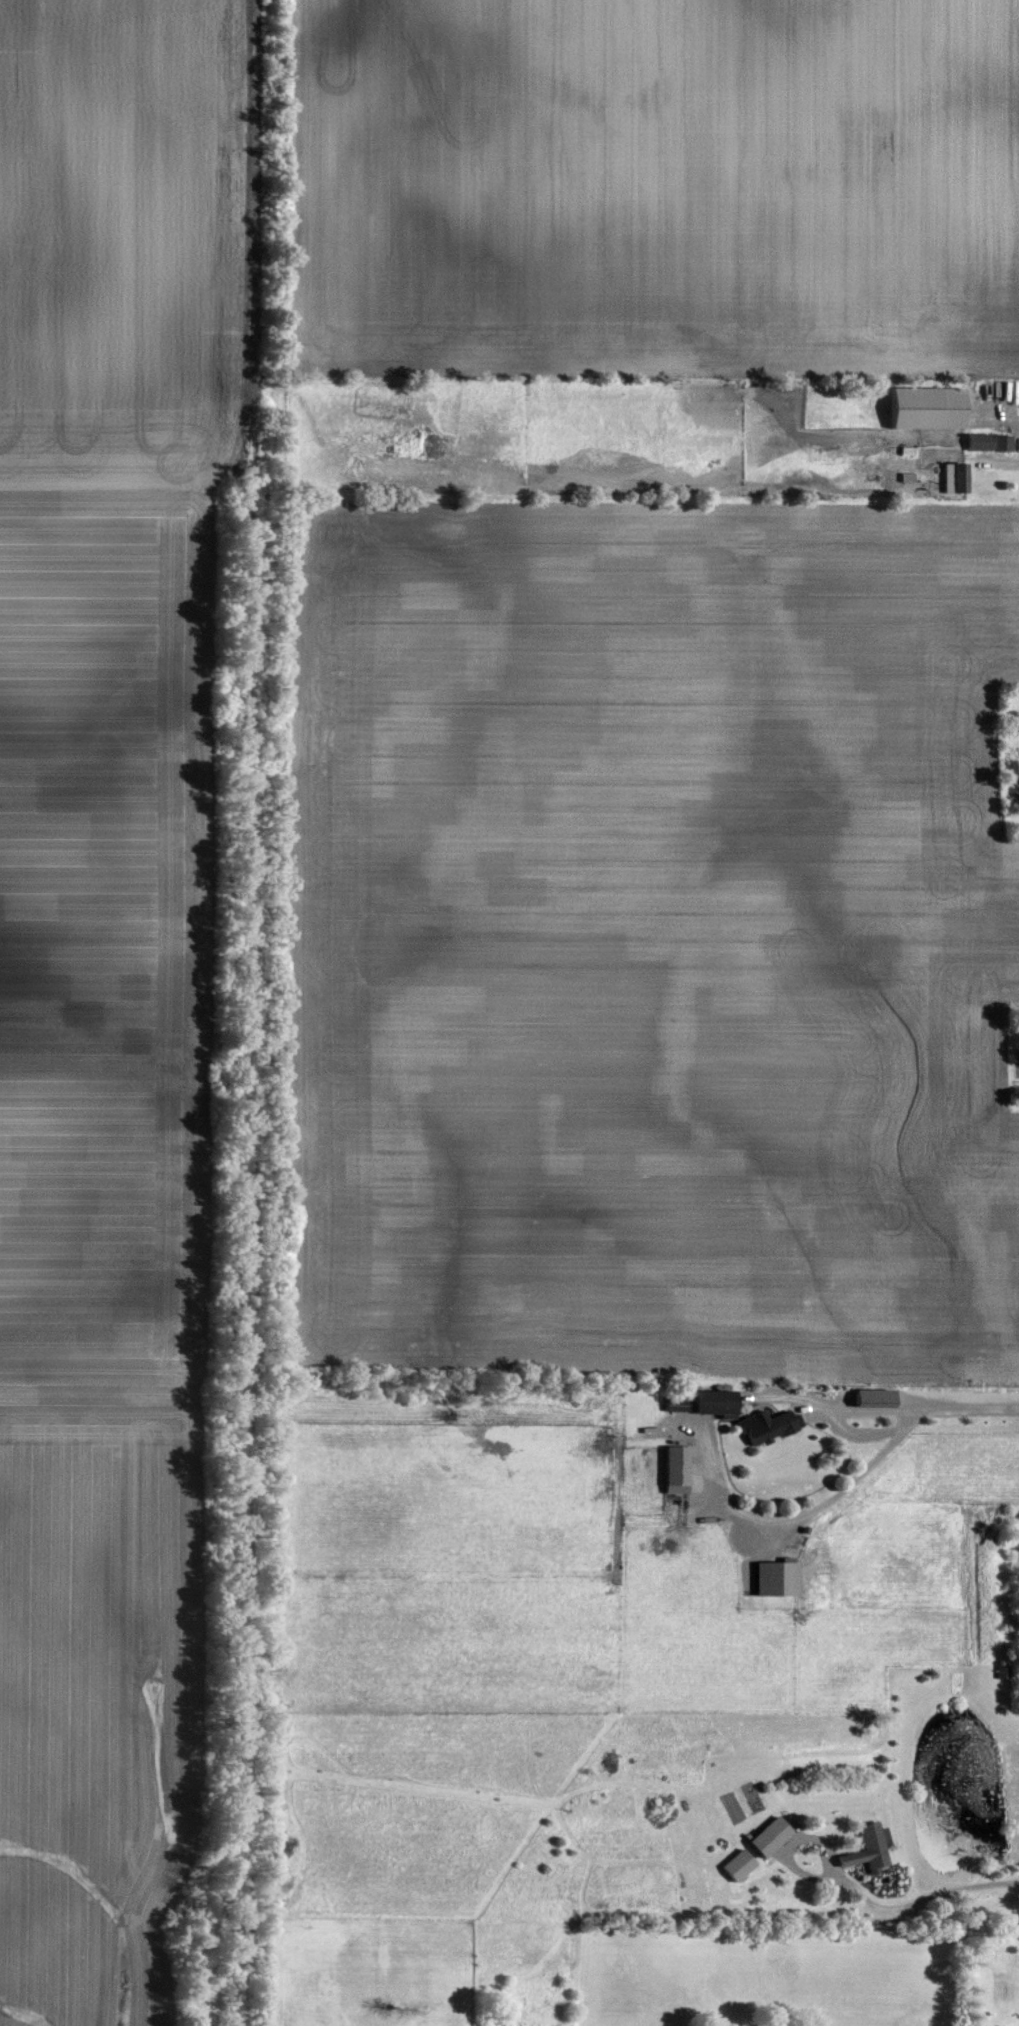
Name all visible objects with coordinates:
building: (930, 408)
building: (990, 442)
building: (907, 450)
road: (1002, 462)
building: (956, 477)
building: (876, 1399)
building: (718, 1404)
building: (676, 1405)
road: (827, 1406)
building: (767, 1427)
building: (677, 1470)
road: (843, 1489)
building: (777, 1579)
building: (771, 1836)
building: (869, 1848)
building: (739, 1865)
road: (906, 1908)

